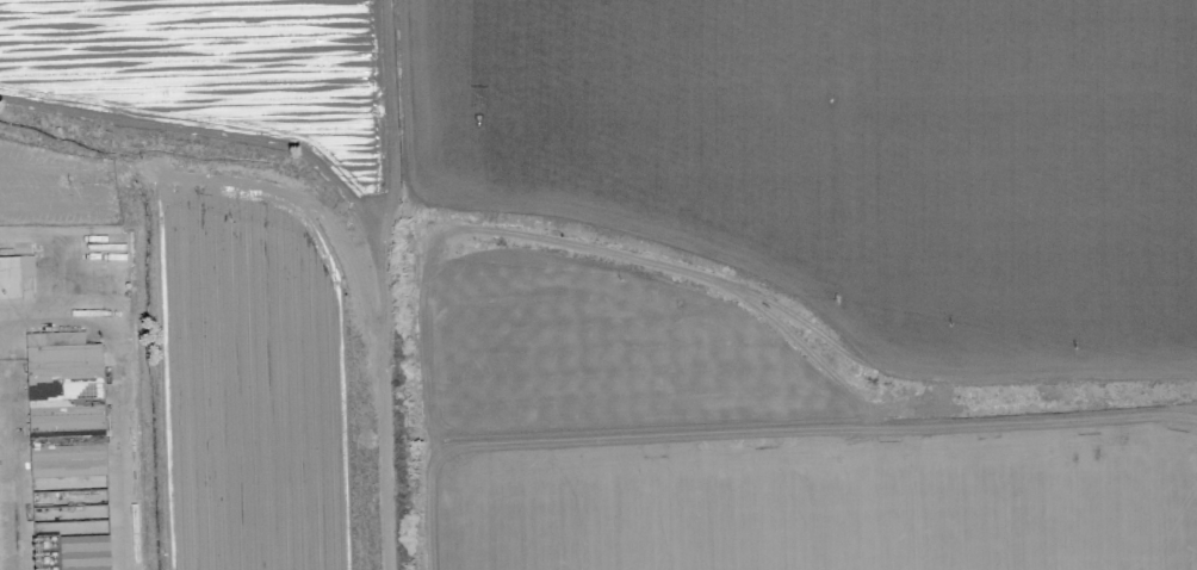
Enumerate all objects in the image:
building: (13, 275)
road: (380, 283)
crop: (598, 285)
road: (30, 317)
road: (119, 342)
building: (63, 407)
building: (83, 553)

